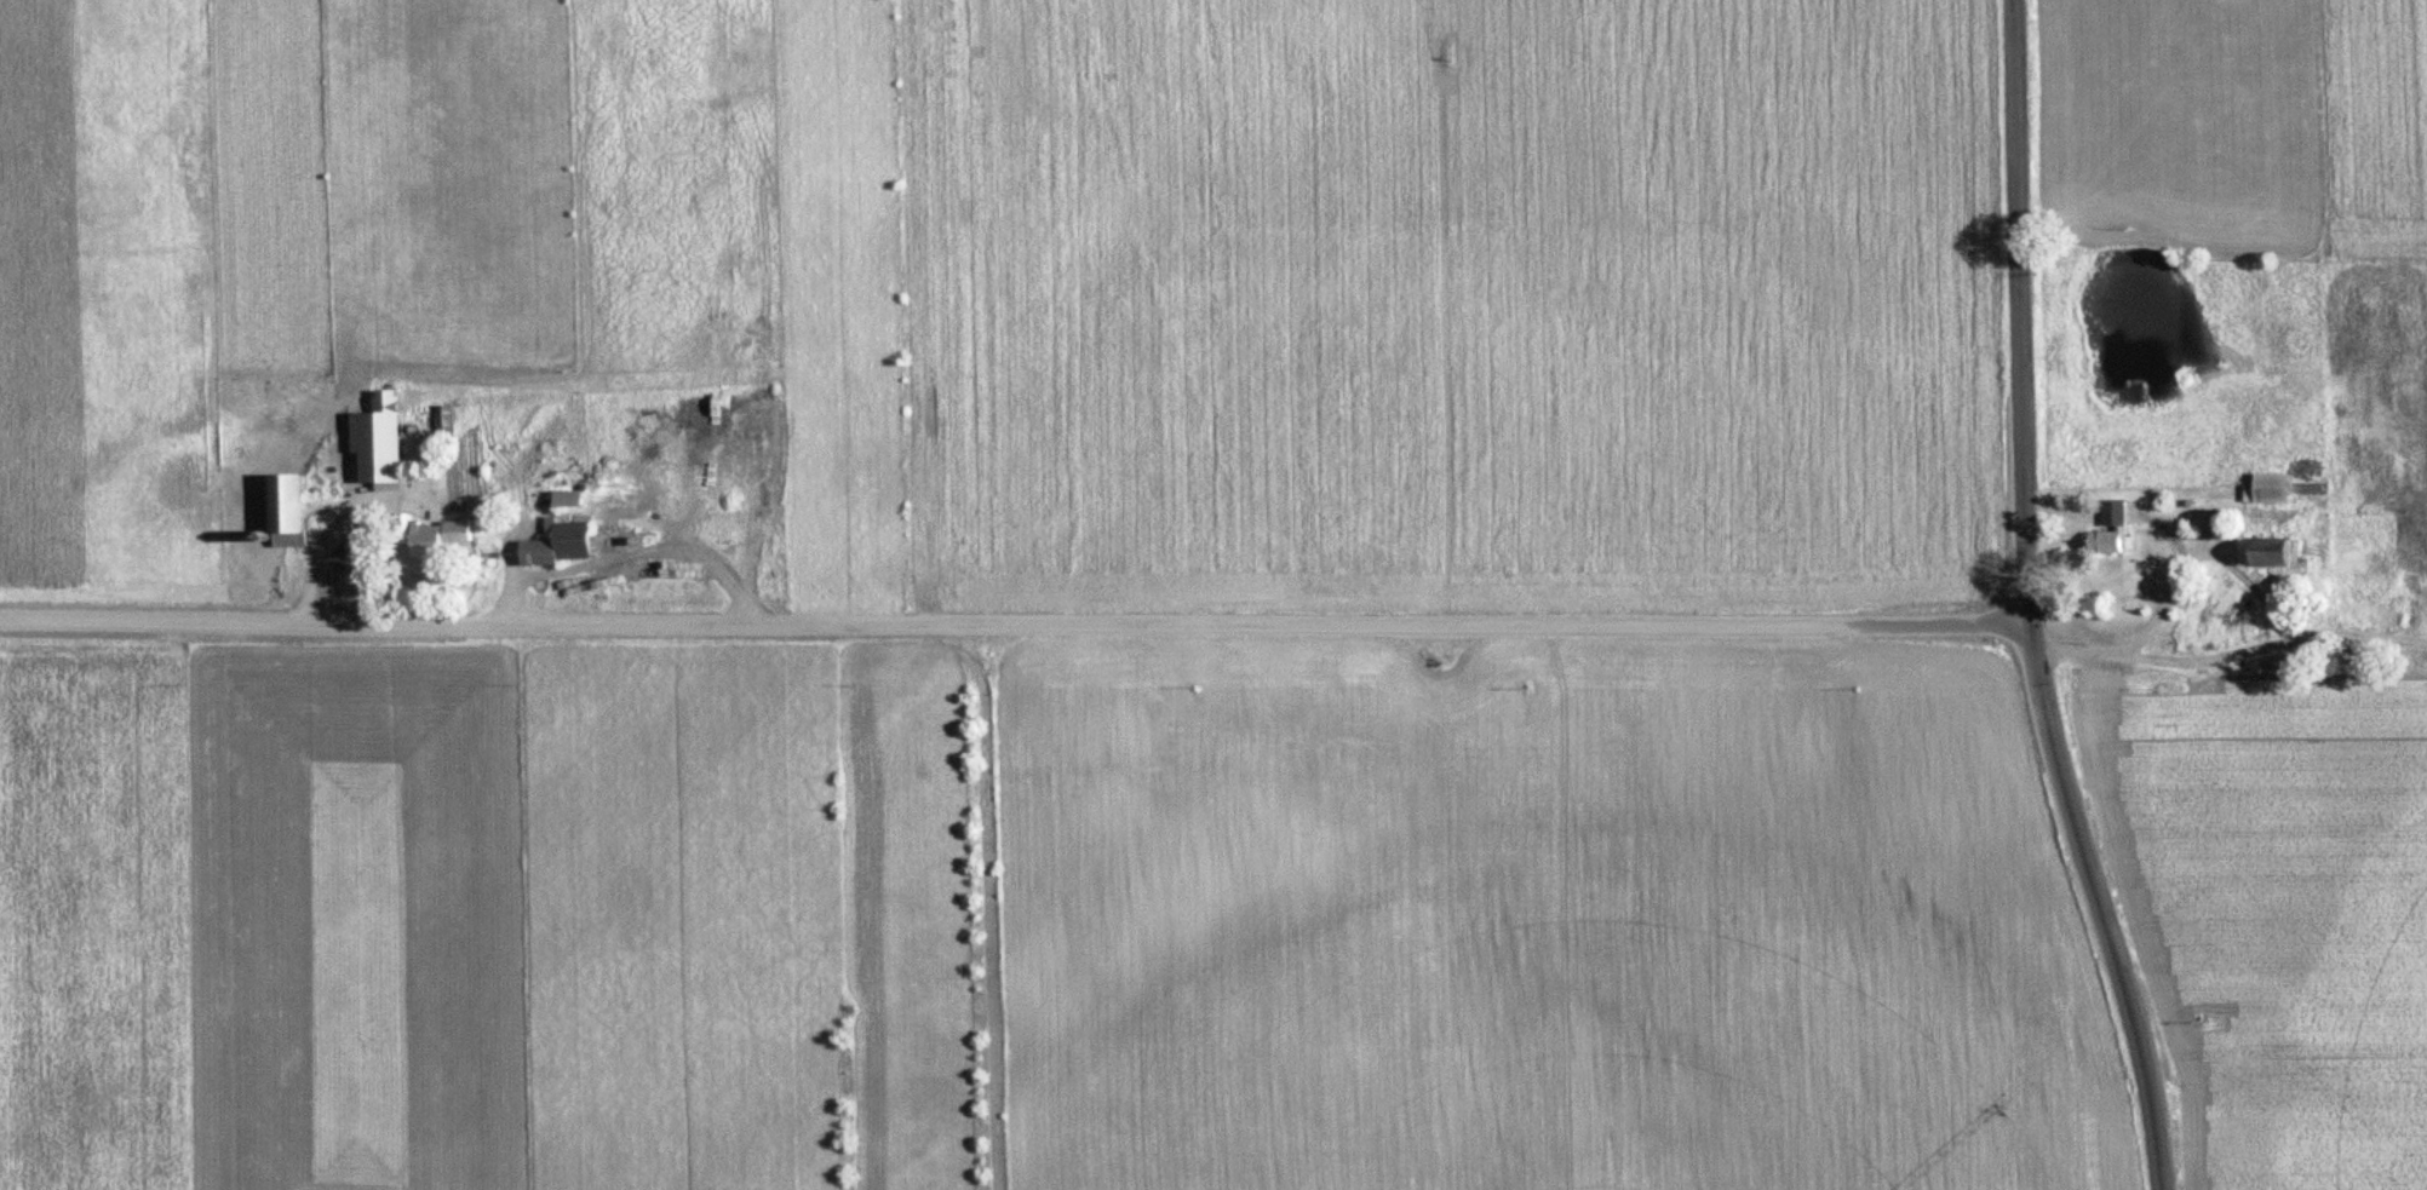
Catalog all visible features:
road: (2026, 324)
building: (361, 418)
building: (440, 421)
building: (2265, 489)
building: (283, 510)
building: (415, 525)
building: (2110, 527)
building: (535, 552)
building: (2261, 552)
road: (1017, 619)
road: (2118, 649)
road: (2313, 649)
road: (2048, 690)
road: (2119, 958)

